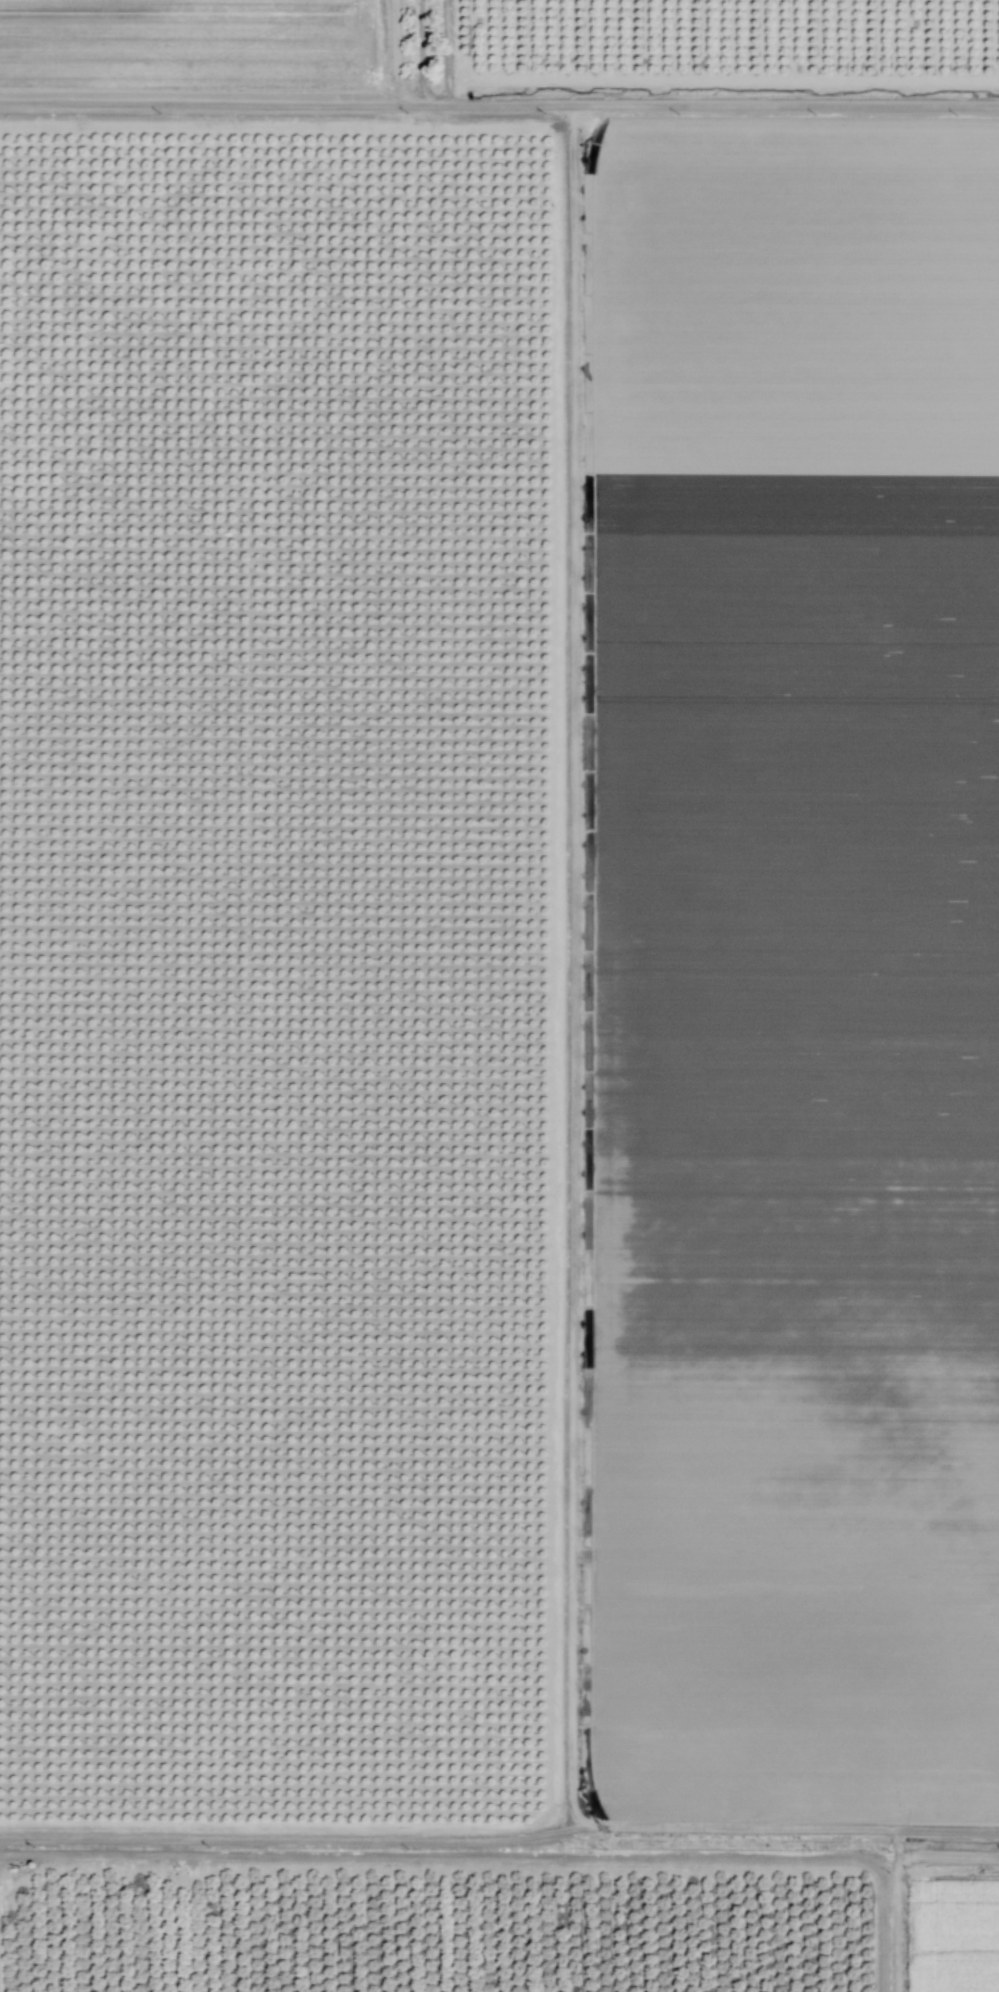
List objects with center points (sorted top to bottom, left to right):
crop: (192, 43)
road: (452, 53)
road: (499, 106)

